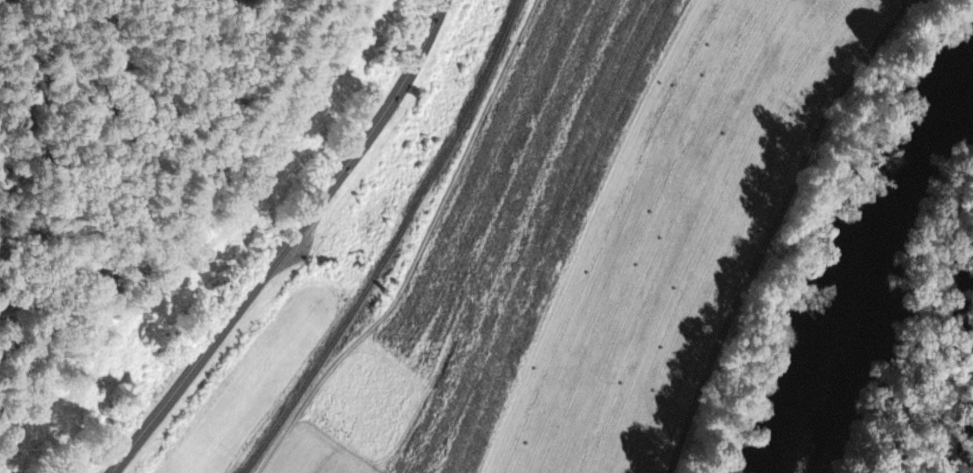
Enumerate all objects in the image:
road: (288, 241)
railway: (394, 244)
river: (859, 265)

